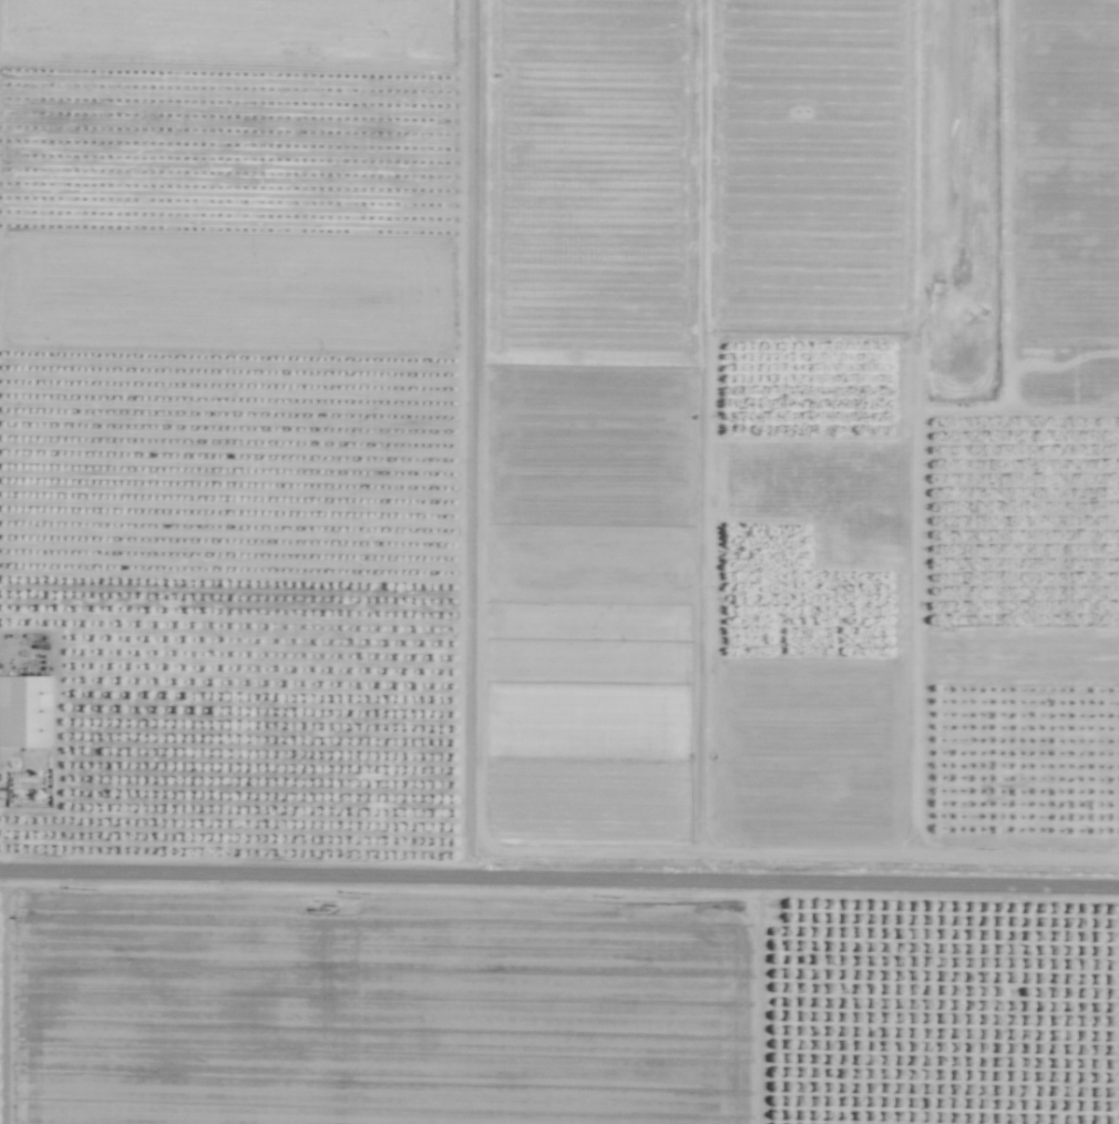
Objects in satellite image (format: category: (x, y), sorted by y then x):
airport runway: (951, 227)
building: (24, 712)
road: (558, 888)
road: (3, 1001)

